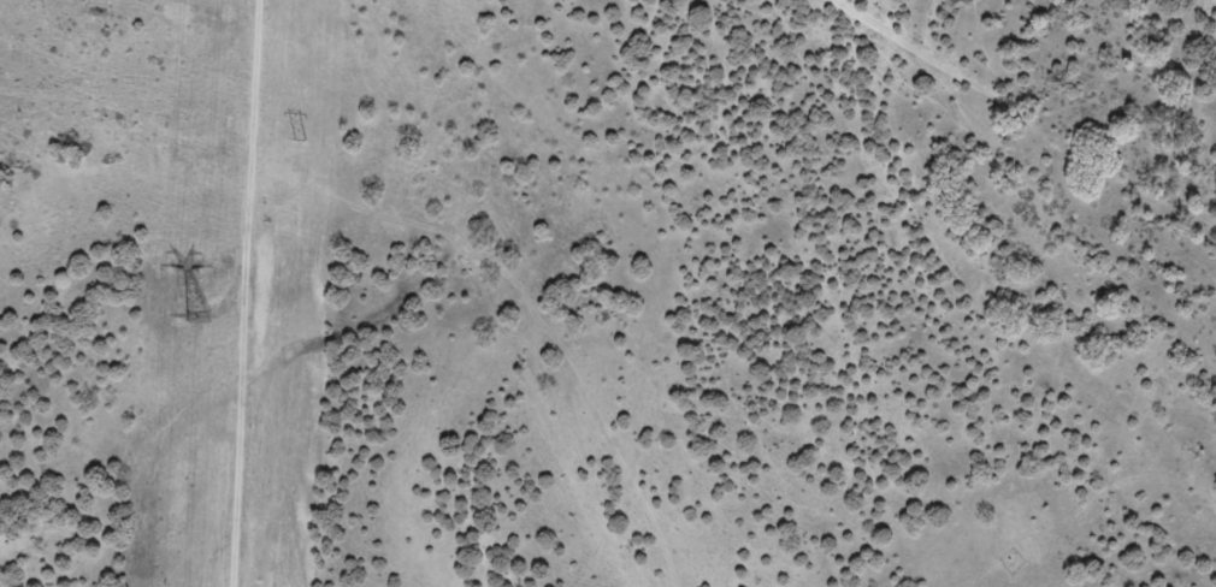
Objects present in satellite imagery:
power tower: (299, 138)
power tower: (196, 315)

